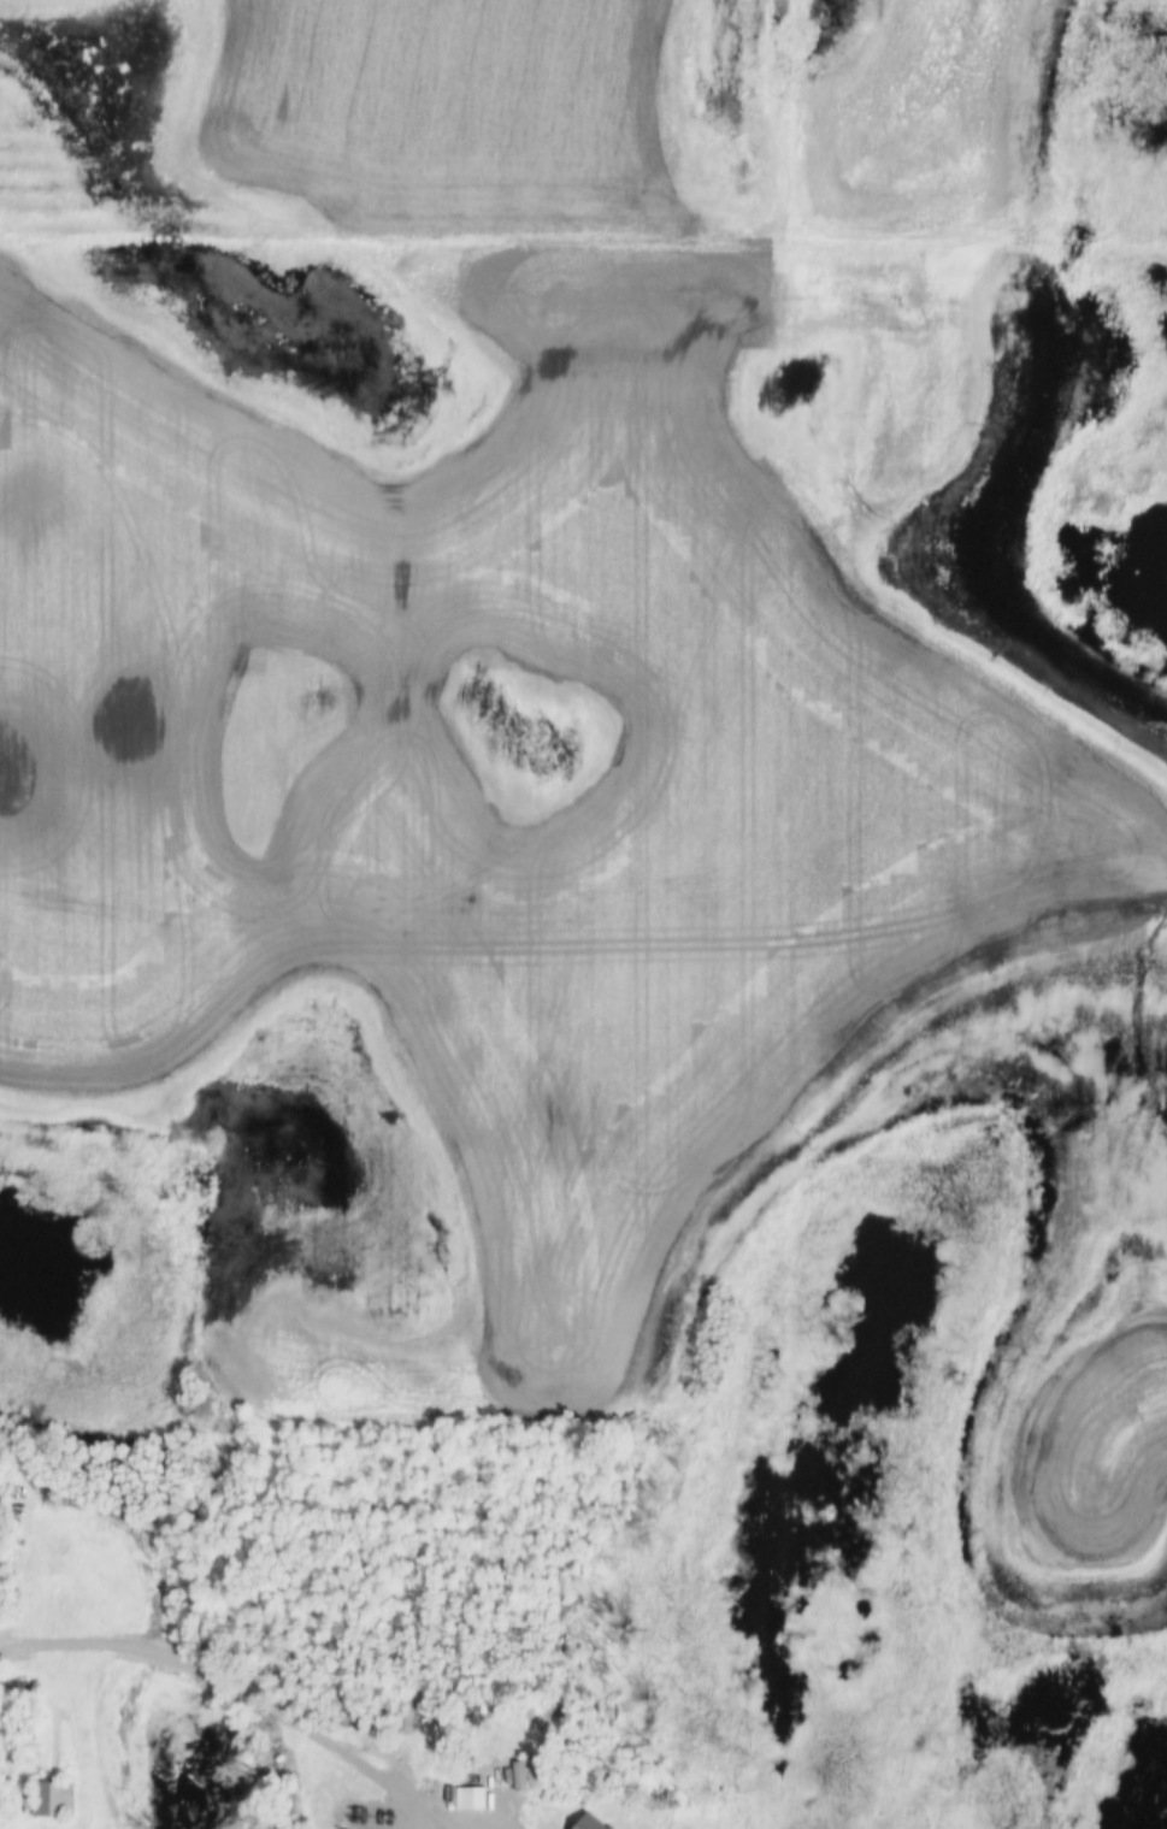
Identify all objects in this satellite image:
road: (235, 1693)
building: (514, 1776)
building: (52, 1799)
building: (472, 1799)
building: (591, 1822)
road: (487, 1824)

